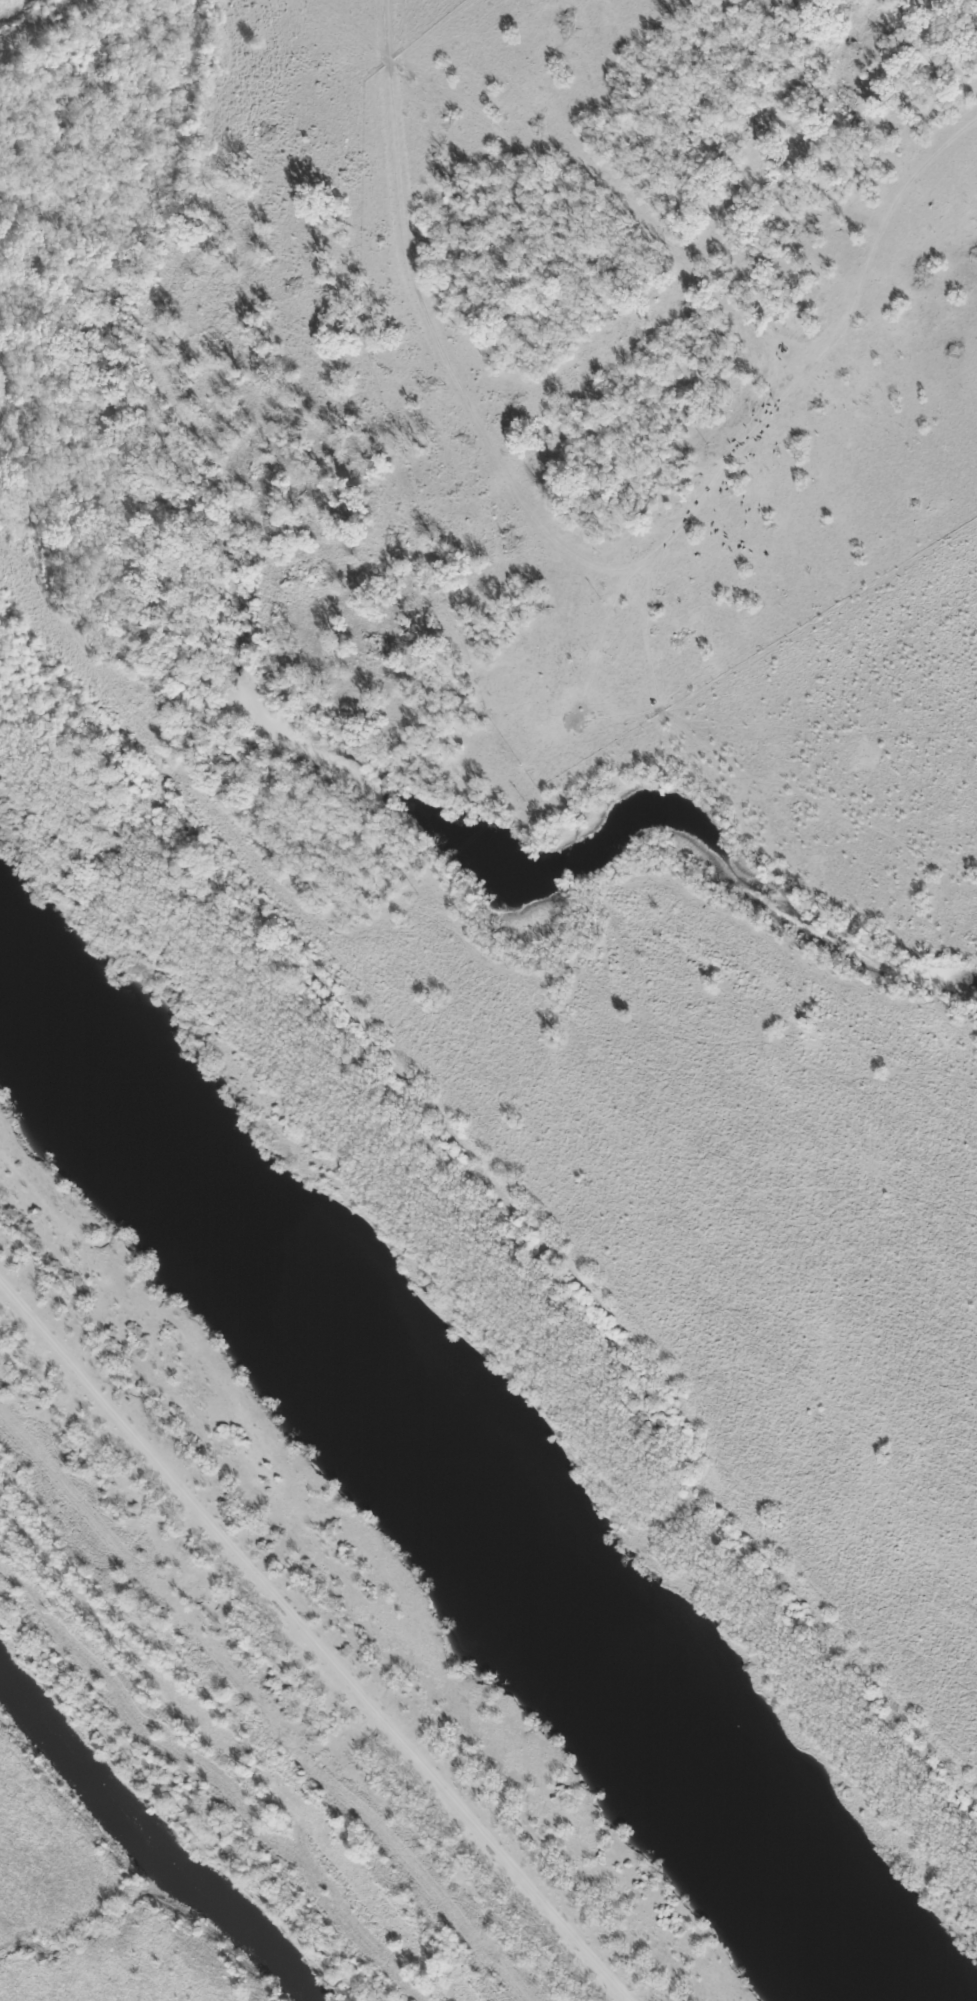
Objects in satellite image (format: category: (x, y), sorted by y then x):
road: (438, 334)
road: (739, 438)
road: (103, 1389)
road: (421, 1755)

